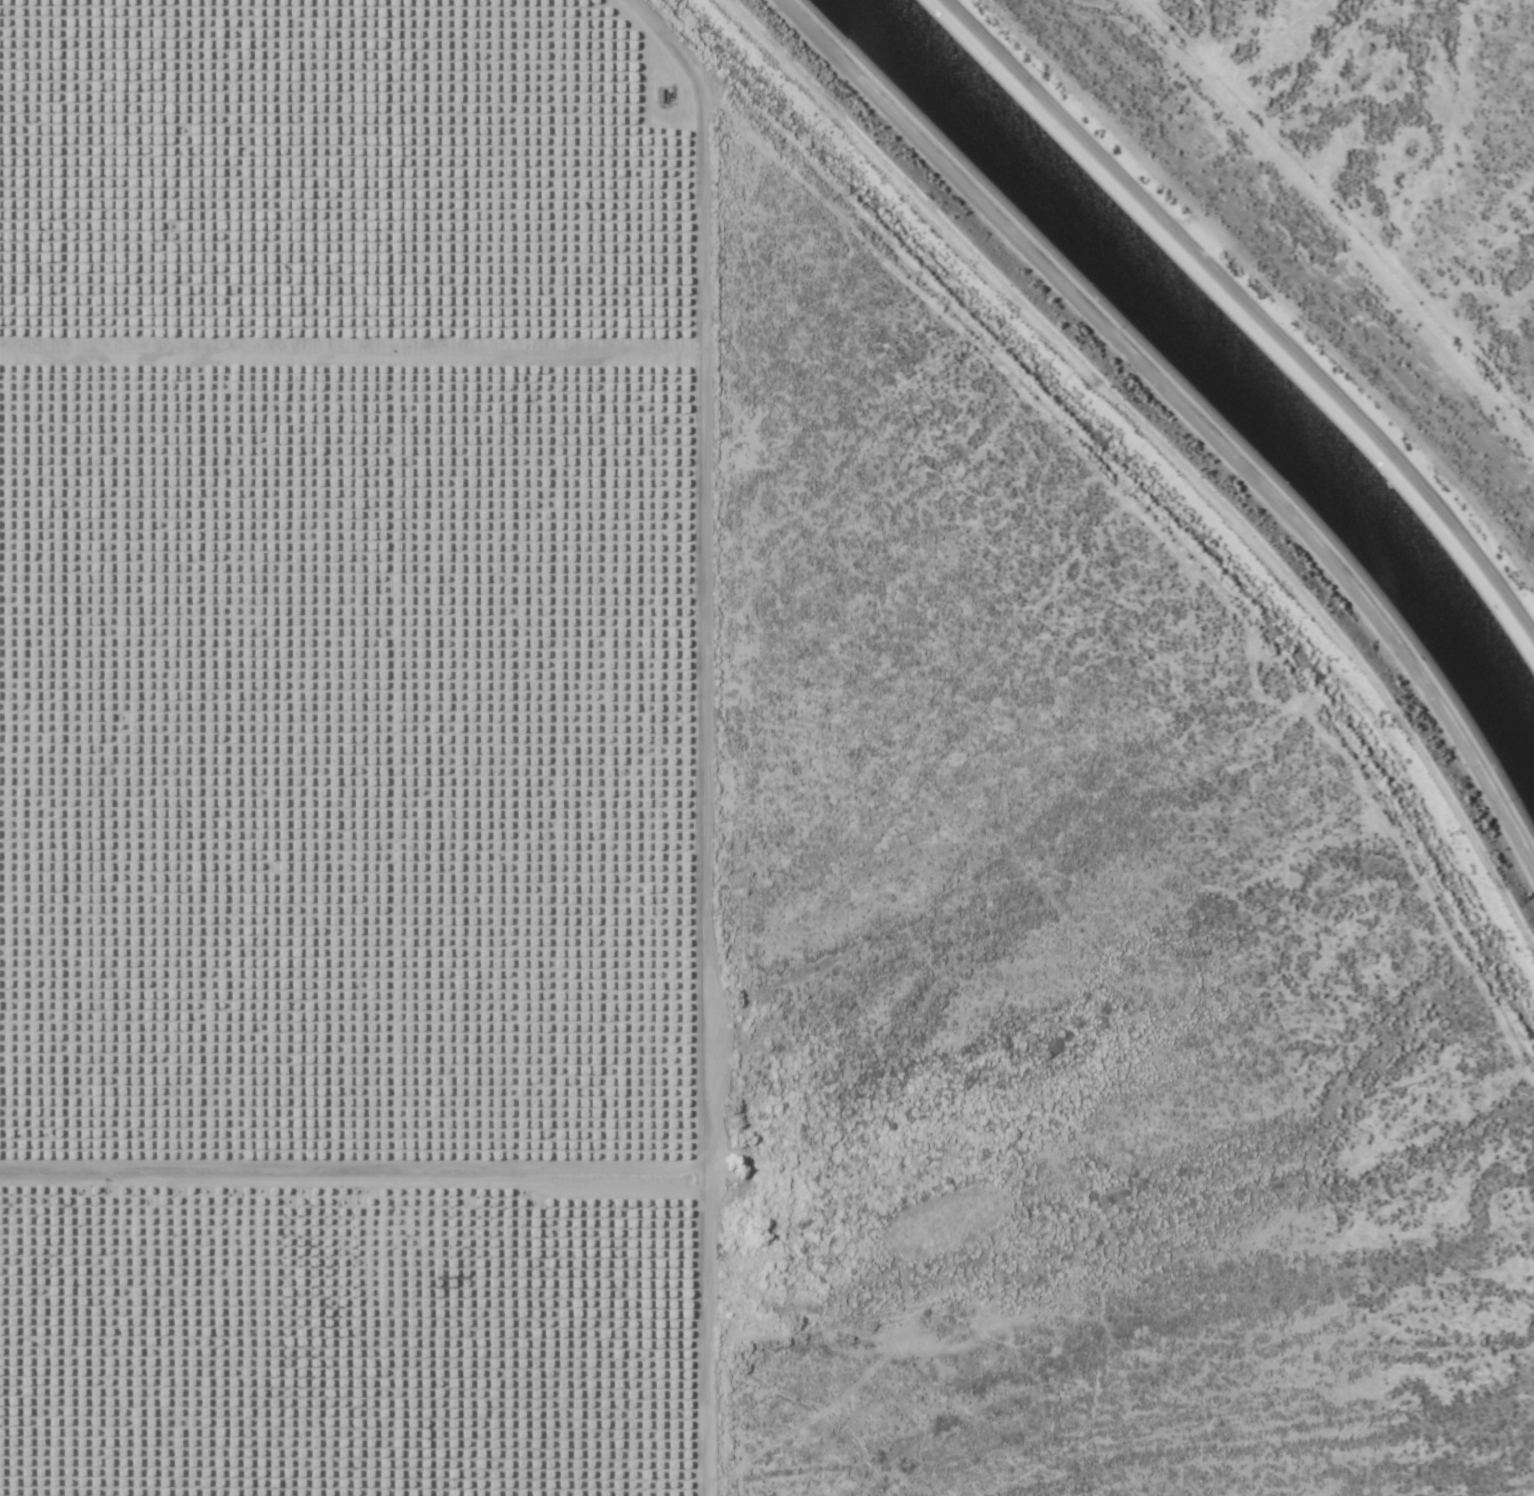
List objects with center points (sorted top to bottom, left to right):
crop: (1396, 142)
road: (1247, 313)
road: (1126, 463)
crop: (355, 745)

